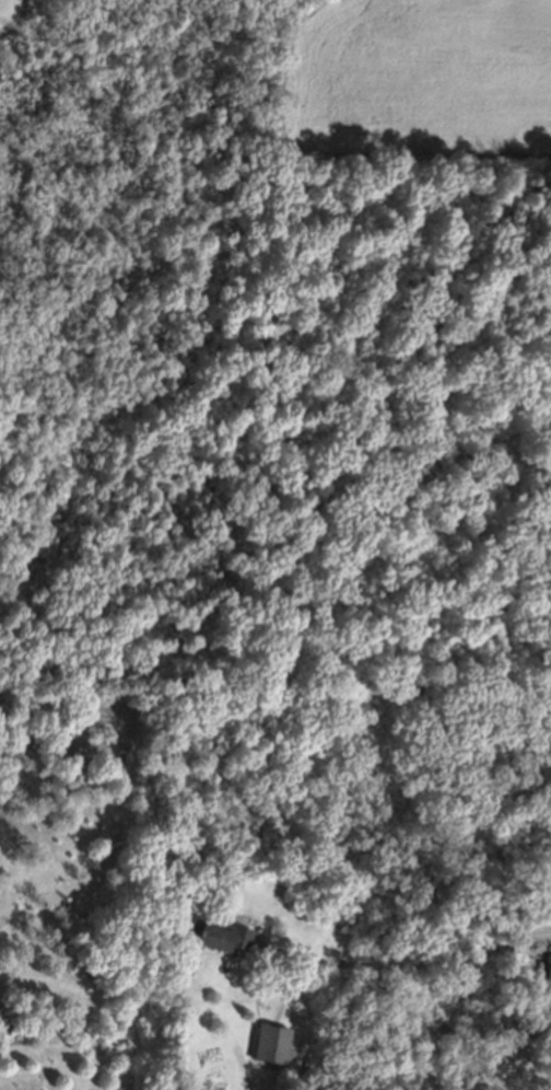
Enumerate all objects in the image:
building: (213, 932)
road: (543, 935)
road: (425, 959)
building: (548, 964)
building: (532, 1032)
building: (265, 1042)

